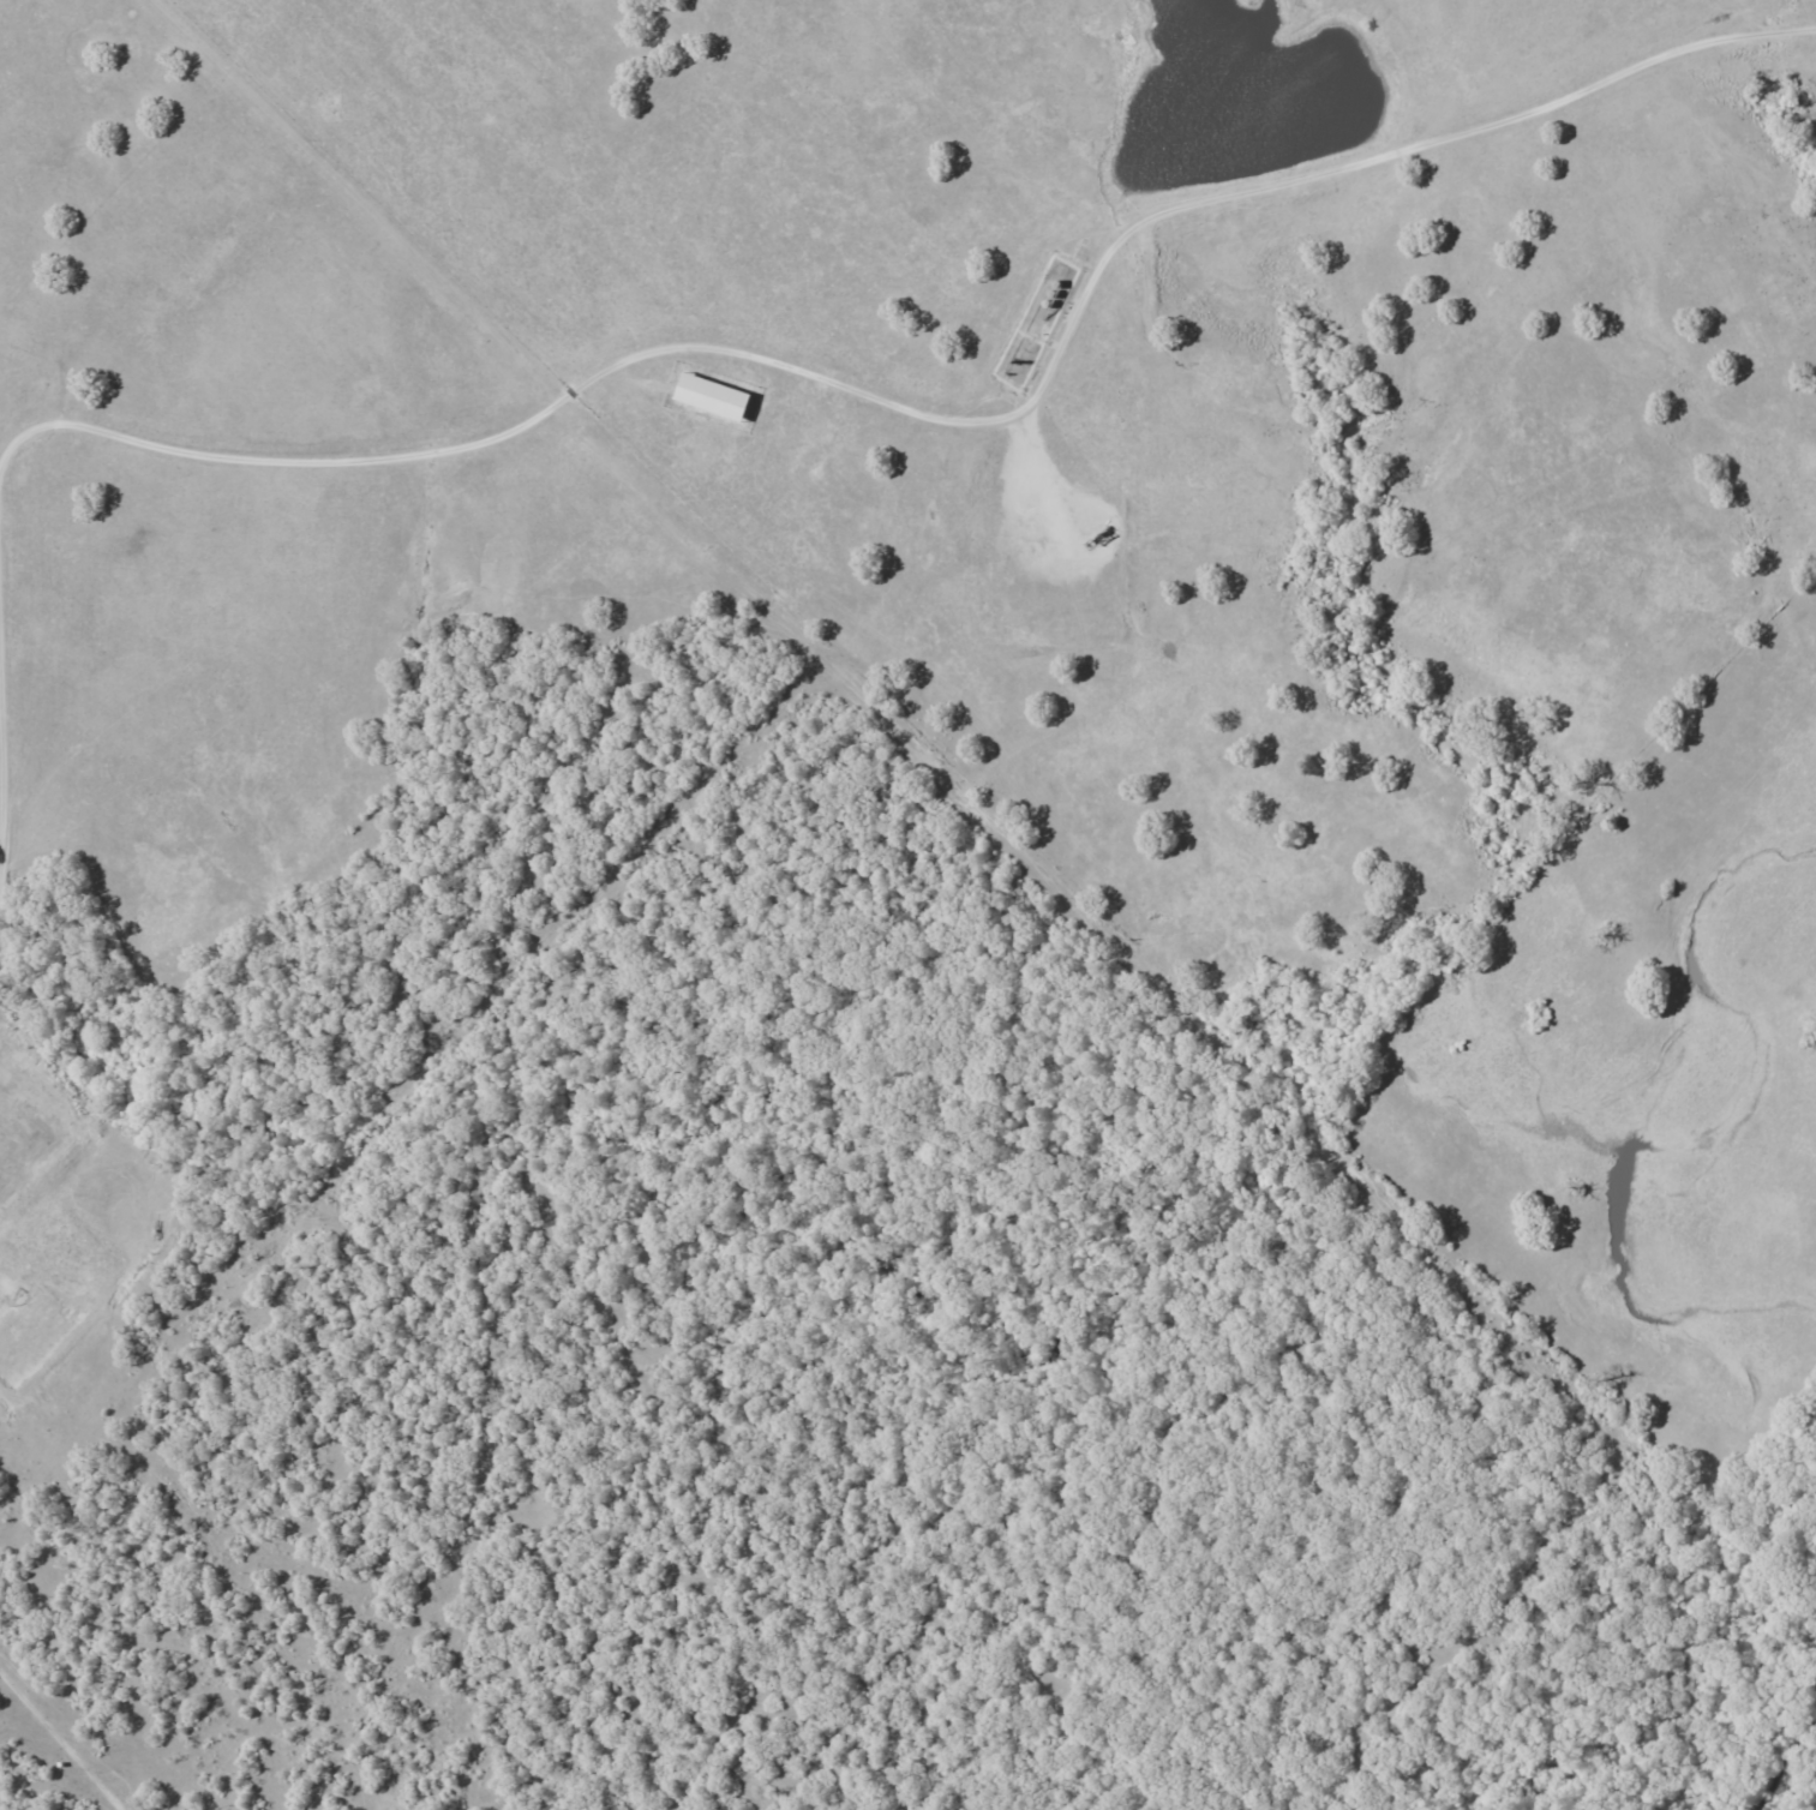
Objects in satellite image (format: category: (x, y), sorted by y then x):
building: (712, 397)
petroleum well: (1102, 534)

